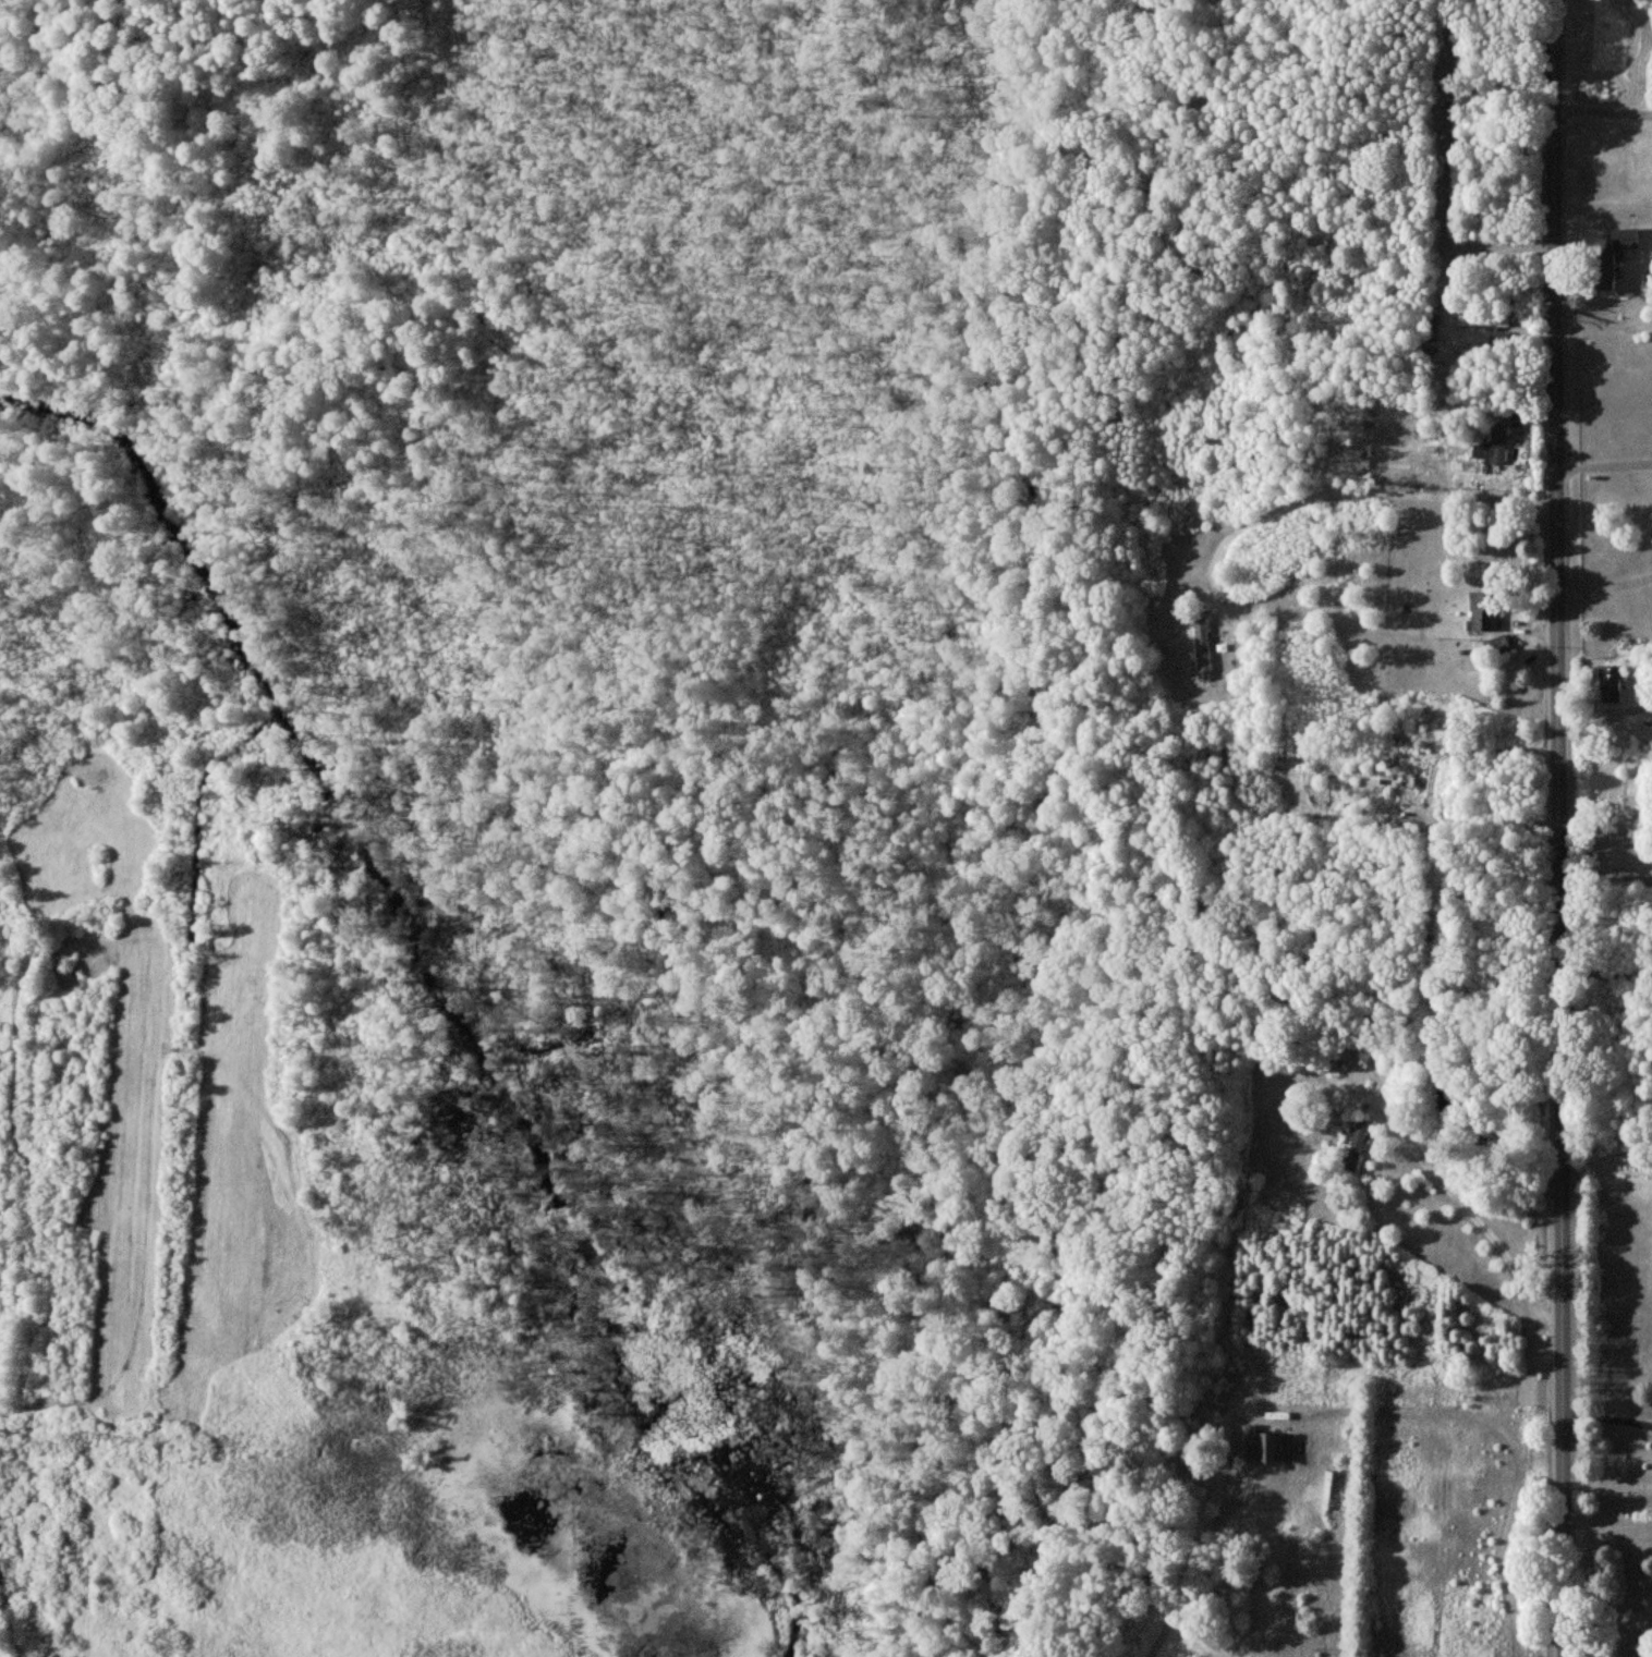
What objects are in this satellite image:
road: (1603, 103)
building: (1494, 446)
building: (1467, 464)
road: (1605, 465)
road: (1363, 489)
building: (1483, 610)
building: (1501, 645)
building: (1202, 647)
building: (1612, 682)
road: (1607, 736)
building: (1369, 771)
road: (1560, 828)
building: (1355, 1147)
road: (1608, 1411)
building: (1268, 1446)

